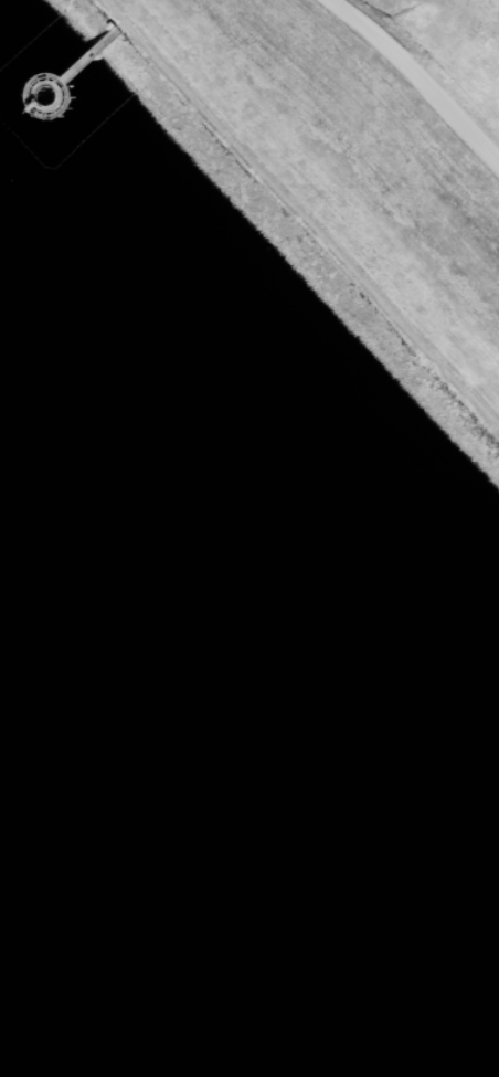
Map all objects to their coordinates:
road: (418, 77)
dam: (310, 209)
road: (300, 214)

